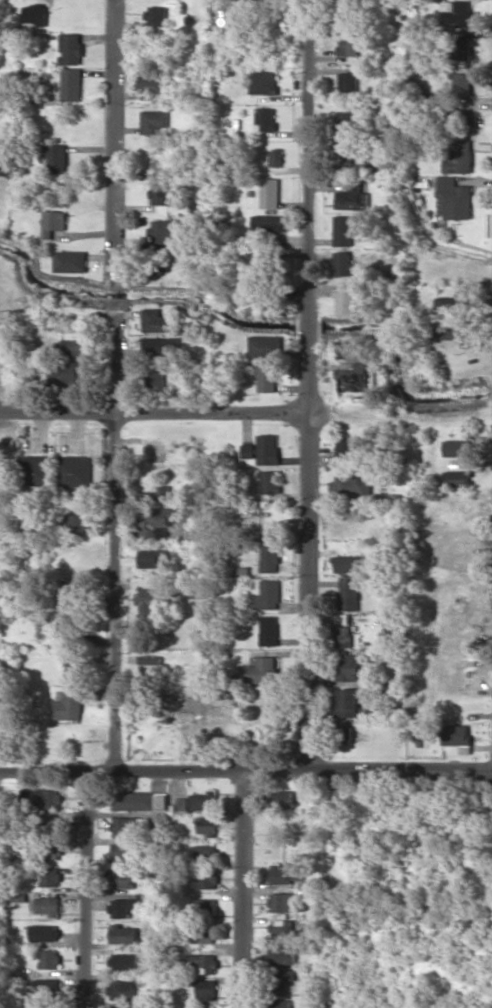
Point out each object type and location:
building: (457, 11)
building: (35, 14)
building: (156, 15)
building: (233, 19)
building: (348, 43)
building: (462, 47)
building: (70, 48)
building: (348, 81)
building: (263, 82)
building: (71, 84)
building: (151, 84)
building: (462, 84)
building: (265, 119)
building: (462, 119)
building: (154, 121)
building: (276, 157)
building: (459, 157)
building: (54, 158)
building: (350, 161)
building: (354, 185)
building: (56, 188)
building: (160, 192)
building: (269, 193)
building: (455, 197)
building: (351, 200)
building: (52, 222)
building: (269, 223)
building: (342, 230)
building: (167, 231)
building: (70, 261)
building: (160, 262)
building: (342, 263)
building: (260, 271)
building: (5, 272)
building: (344, 300)
building: (455, 300)
building: (154, 320)
building: (455, 330)
building: (264, 345)
building: (159, 346)
building: (75, 347)
building: (346, 349)
building: (69, 372)
building: (266, 376)
building: (356, 378)
building: (154, 380)
road: (114, 385)
road: (306, 385)
road: (246, 413)
building: (455, 448)
building: (262, 449)
building: (348, 452)
building: (36, 470)
building: (74, 470)
building: (457, 478)
building: (267, 481)
building: (350, 483)
building: (154, 493)
building: (159, 519)
building: (77, 525)
building: (269, 557)
building: (154, 558)
building: (347, 564)
building: (69, 591)
building: (348, 594)
building: (268, 595)
building: (153, 598)
building: (342, 620)
building: (69, 628)
building: (269, 630)
building: (342, 636)
building: (347, 666)
building: (73, 668)
building: (259, 670)
building: (346, 702)
building: (69, 705)
building: (197, 709)
building: (344, 734)
building: (456, 734)
road: (245, 771)
building: (40, 797)
building: (284, 798)
building: (140, 800)
building: (205, 800)
building: (50, 819)
building: (124, 825)
building: (208, 826)
building: (122, 852)
building: (205, 852)
building: (285, 873)
building: (50, 877)
building: (123, 879)
building: (208, 879)
road: (87, 889)
road: (244, 889)
building: (281, 902)
building: (46, 905)
building: (123, 906)
building: (207, 909)
building: (282, 927)
building: (45, 932)
building: (204, 933)
building: (125, 934)
building: (283, 953)
building: (49, 959)
building: (125, 961)
building: (205, 962)
building: (283, 977)
building: (41, 987)
building: (208, 988)
building: (122, 989)
building: (283, 1003)
building: (36, 1007)

